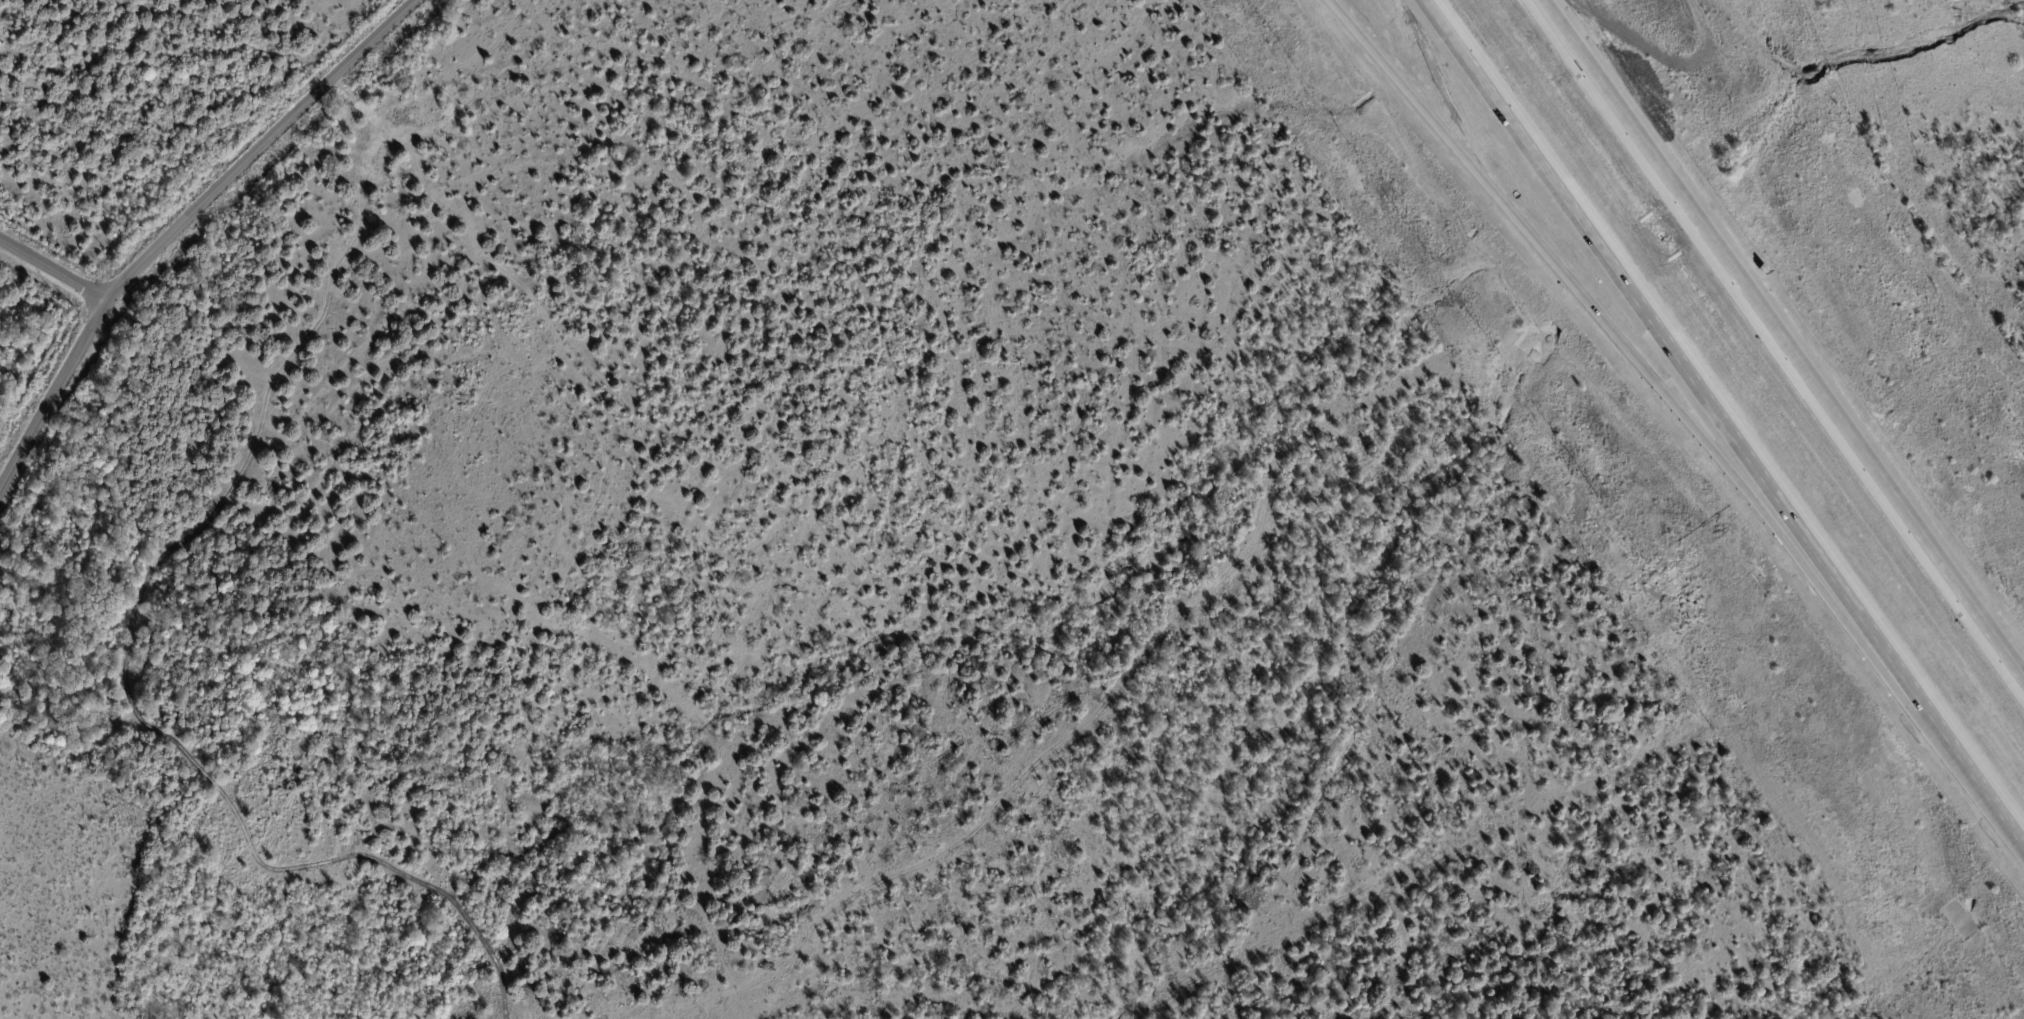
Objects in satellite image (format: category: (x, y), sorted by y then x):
road: (185, 225)
road: (52, 271)
road: (1788, 335)
road: (1634, 358)
road: (1680, 360)
road: (1979, 777)

